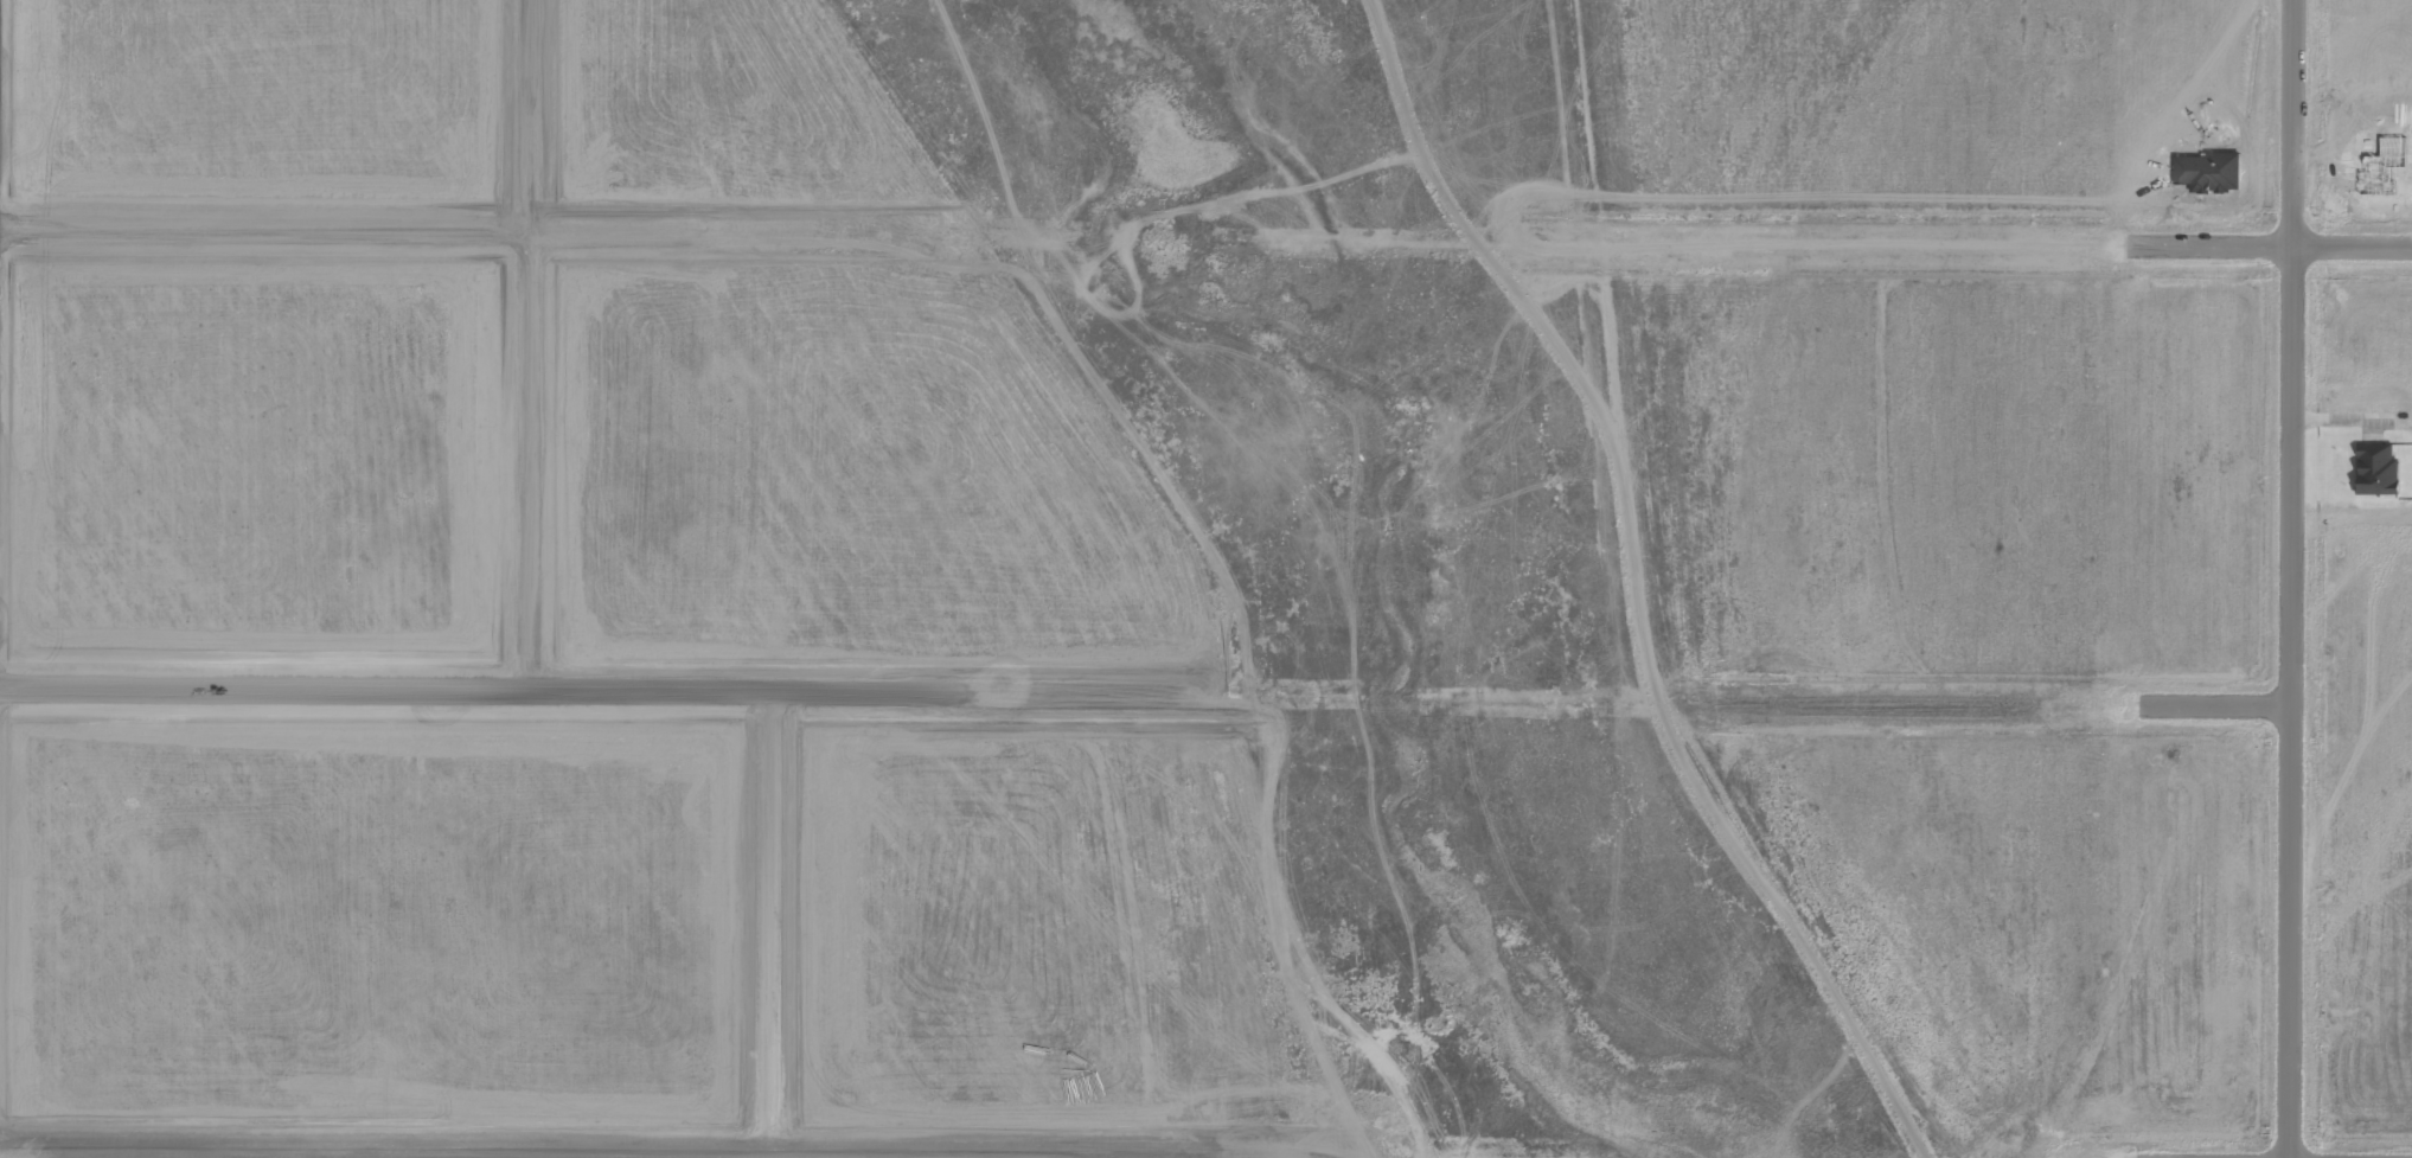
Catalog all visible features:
road: (469, 229)
road: (1969, 244)
road: (524, 348)
road: (2290, 578)
road: (591, 698)
road: (1972, 704)
road: (769, 926)
road: (687, 1151)
road: (382, 1154)
road: (1094, 1154)

